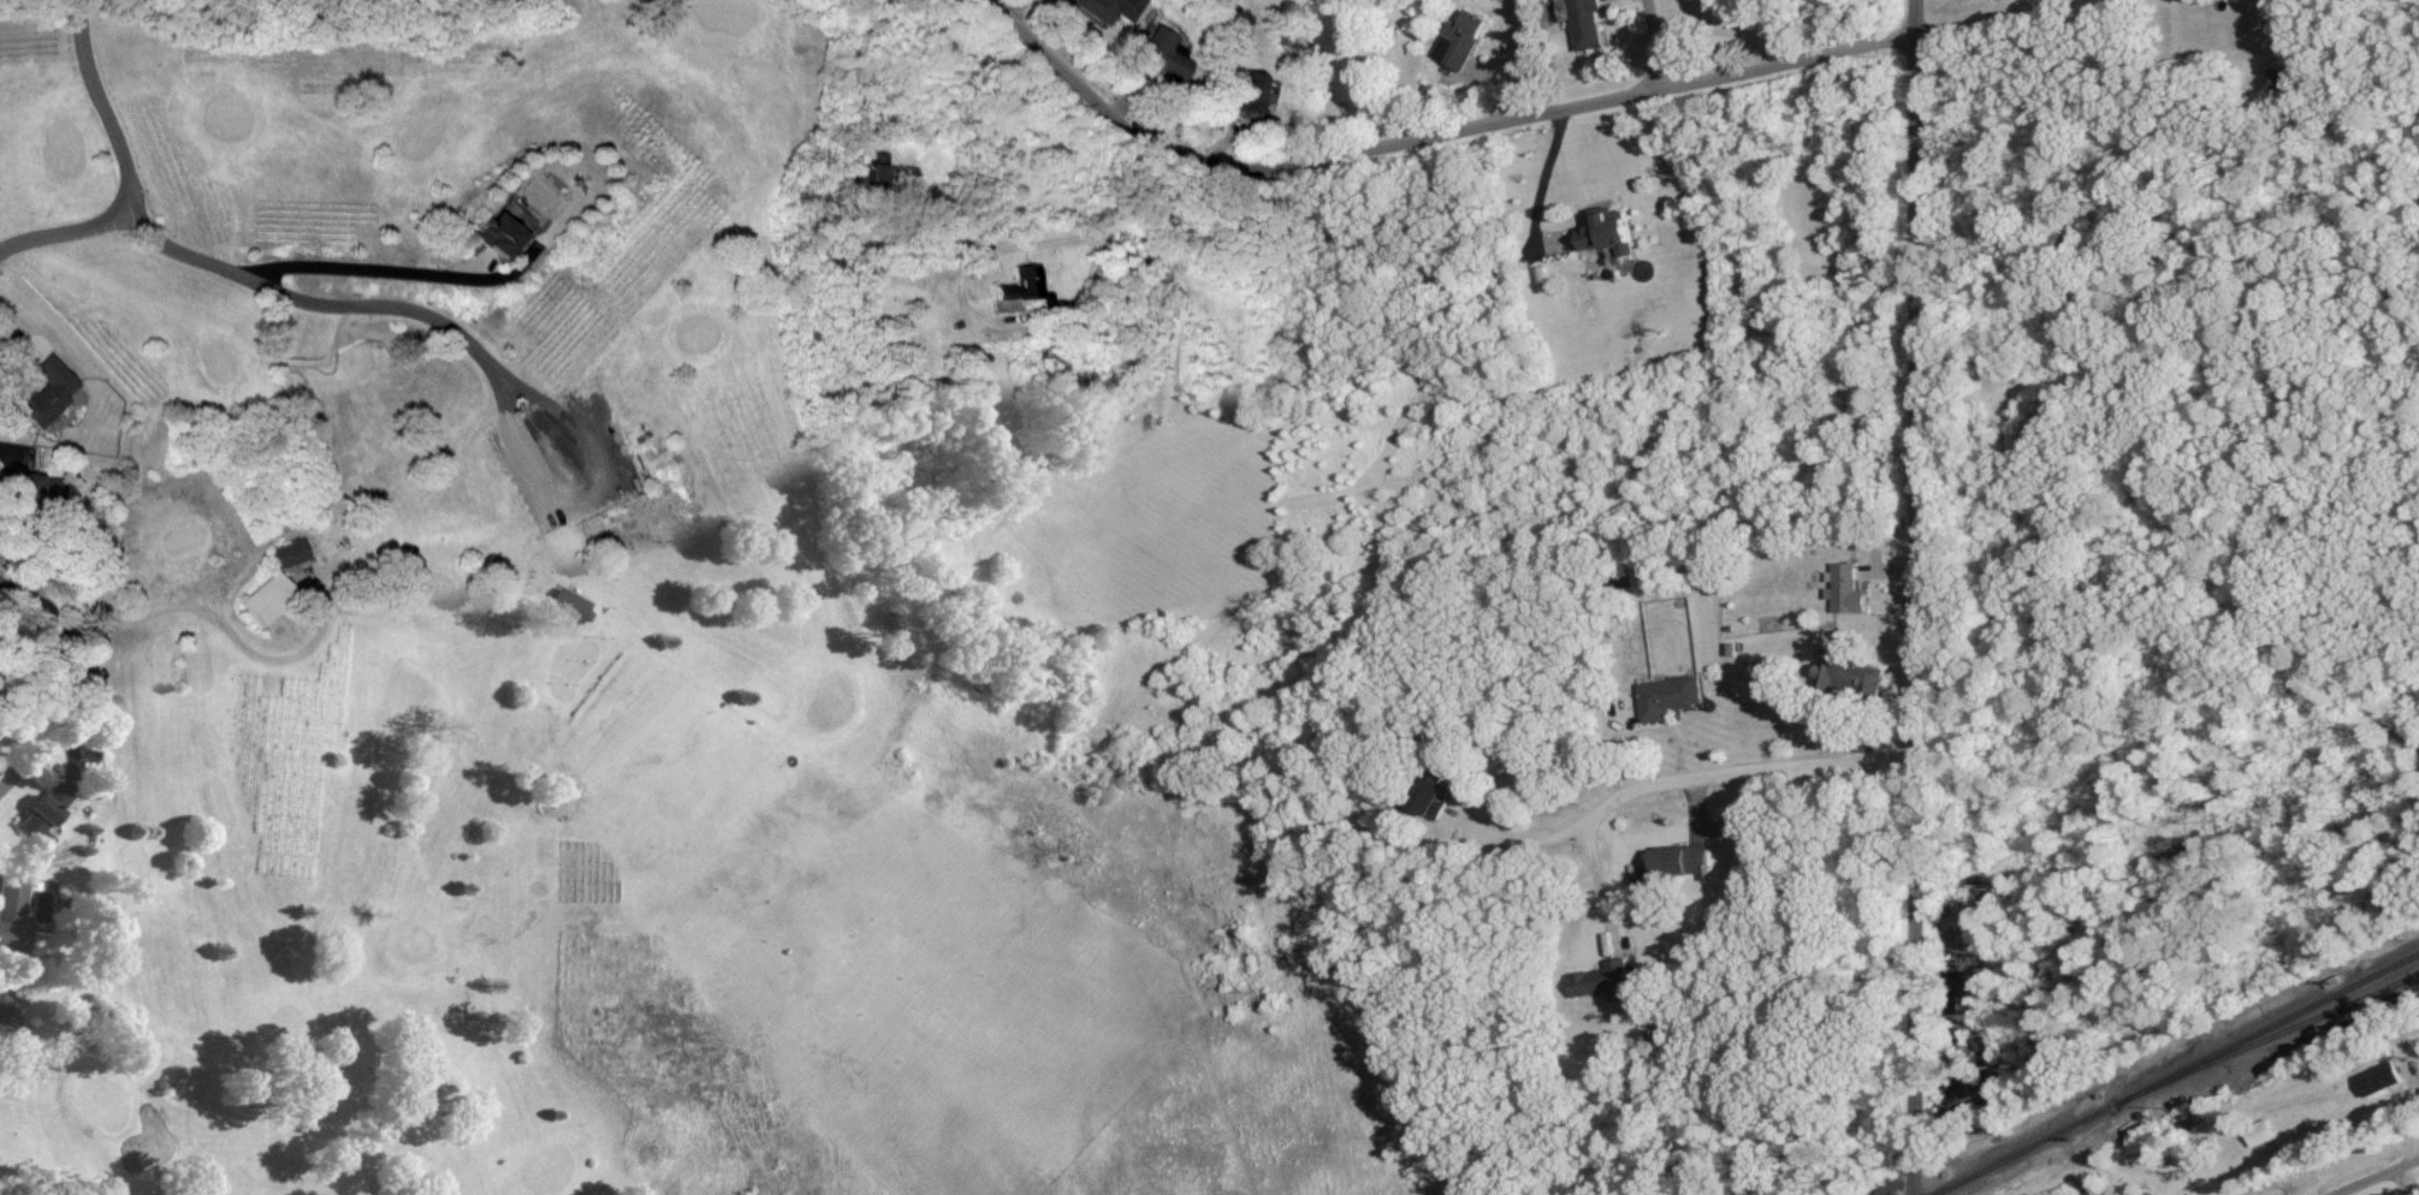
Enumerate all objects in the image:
building: (508, 0)
road: (1941, 5)
building: (1108, 8)
road: (2291, 20)
building: (1585, 24)
road: (1660, 35)
building: (1458, 40)
building: (1287, 41)
building: (1162, 54)
building: (1249, 94)
road: (1449, 114)
road: (129, 168)
building: (865, 172)
road: (1546, 176)
road: (1014, 227)
building: (1607, 231)
building: (503, 238)
road: (368, 270)
building: (1018, 285)
road: (316, 304)
building: (43, 398)
road: (594, 446)
parking lot: (568, 459)
building: (34, 489)
building: (291, 551)
building: (1845, 590)
road: (1915, 596)
building: (267, 600)
building: (571, 606)
road: (225, 624)
building: (1849, 677)
road: (67, 682)
building: (1667, 697)
road: (1671, 777)
building: (1434, 795)
building: (46, 815)
building: (1680, 862)
road: (1599, 886)
building: (13, 912)
building: (1603, 981)
building: (6, 1006)
railway: (2255, 1042)
railway: (2175, 1074)
building: (2378, 1078)
building: (2259, 1132)
road: (2379, 1178)
road: (2402, 1182)

